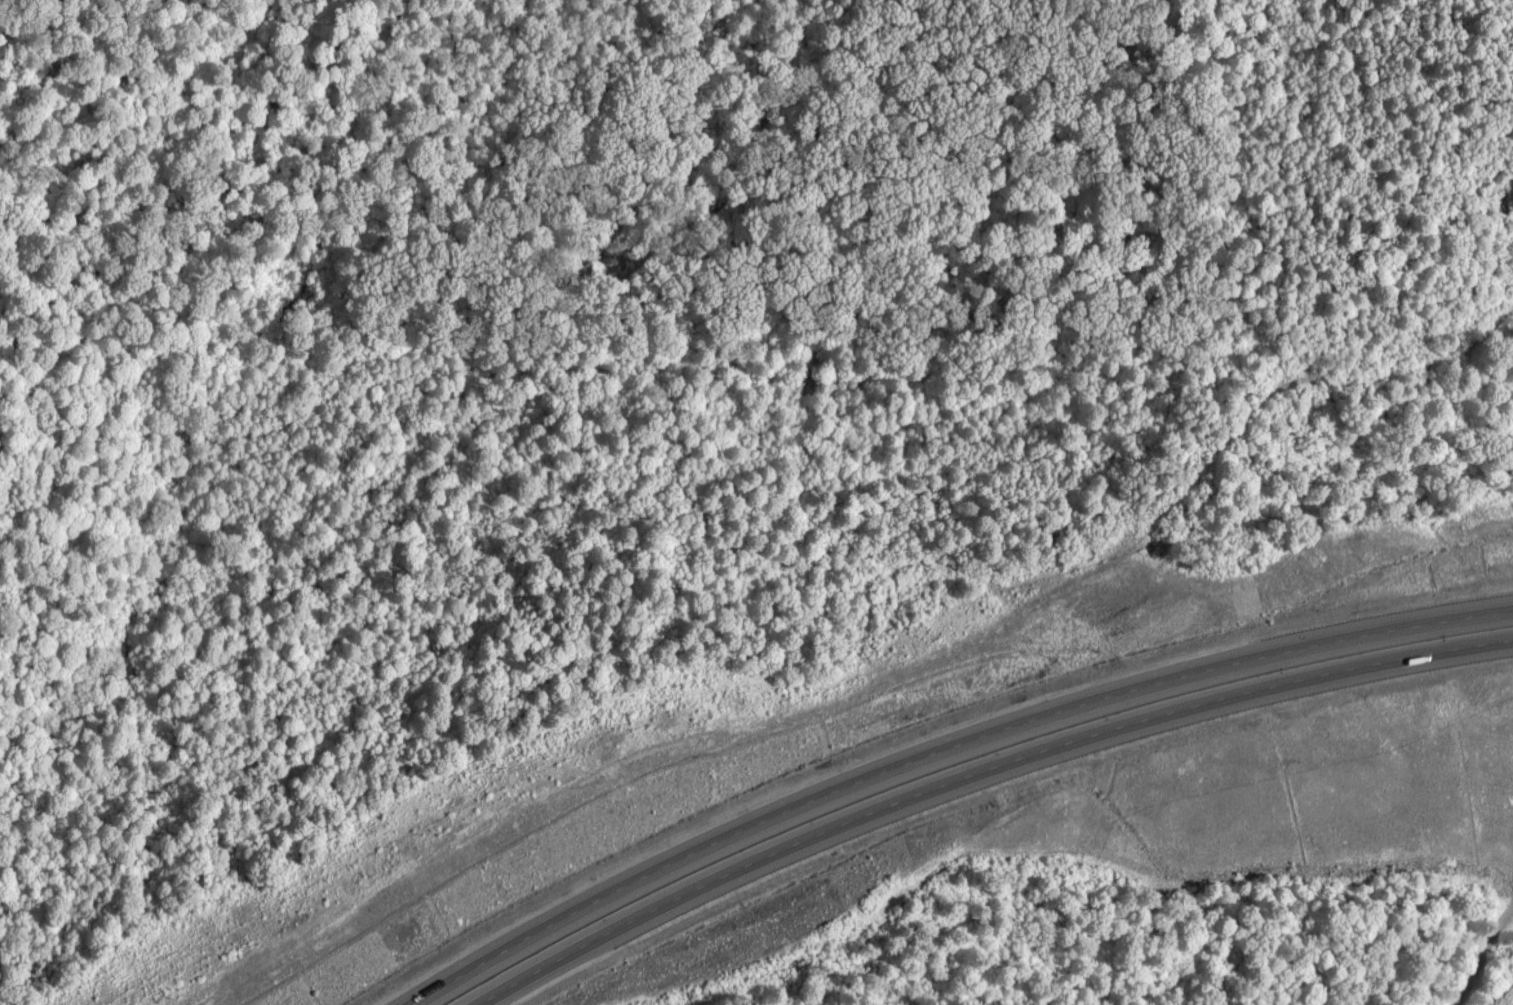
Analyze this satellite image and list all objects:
road: (949, 754)
road: (982, 771)
road: (1487, 970)

